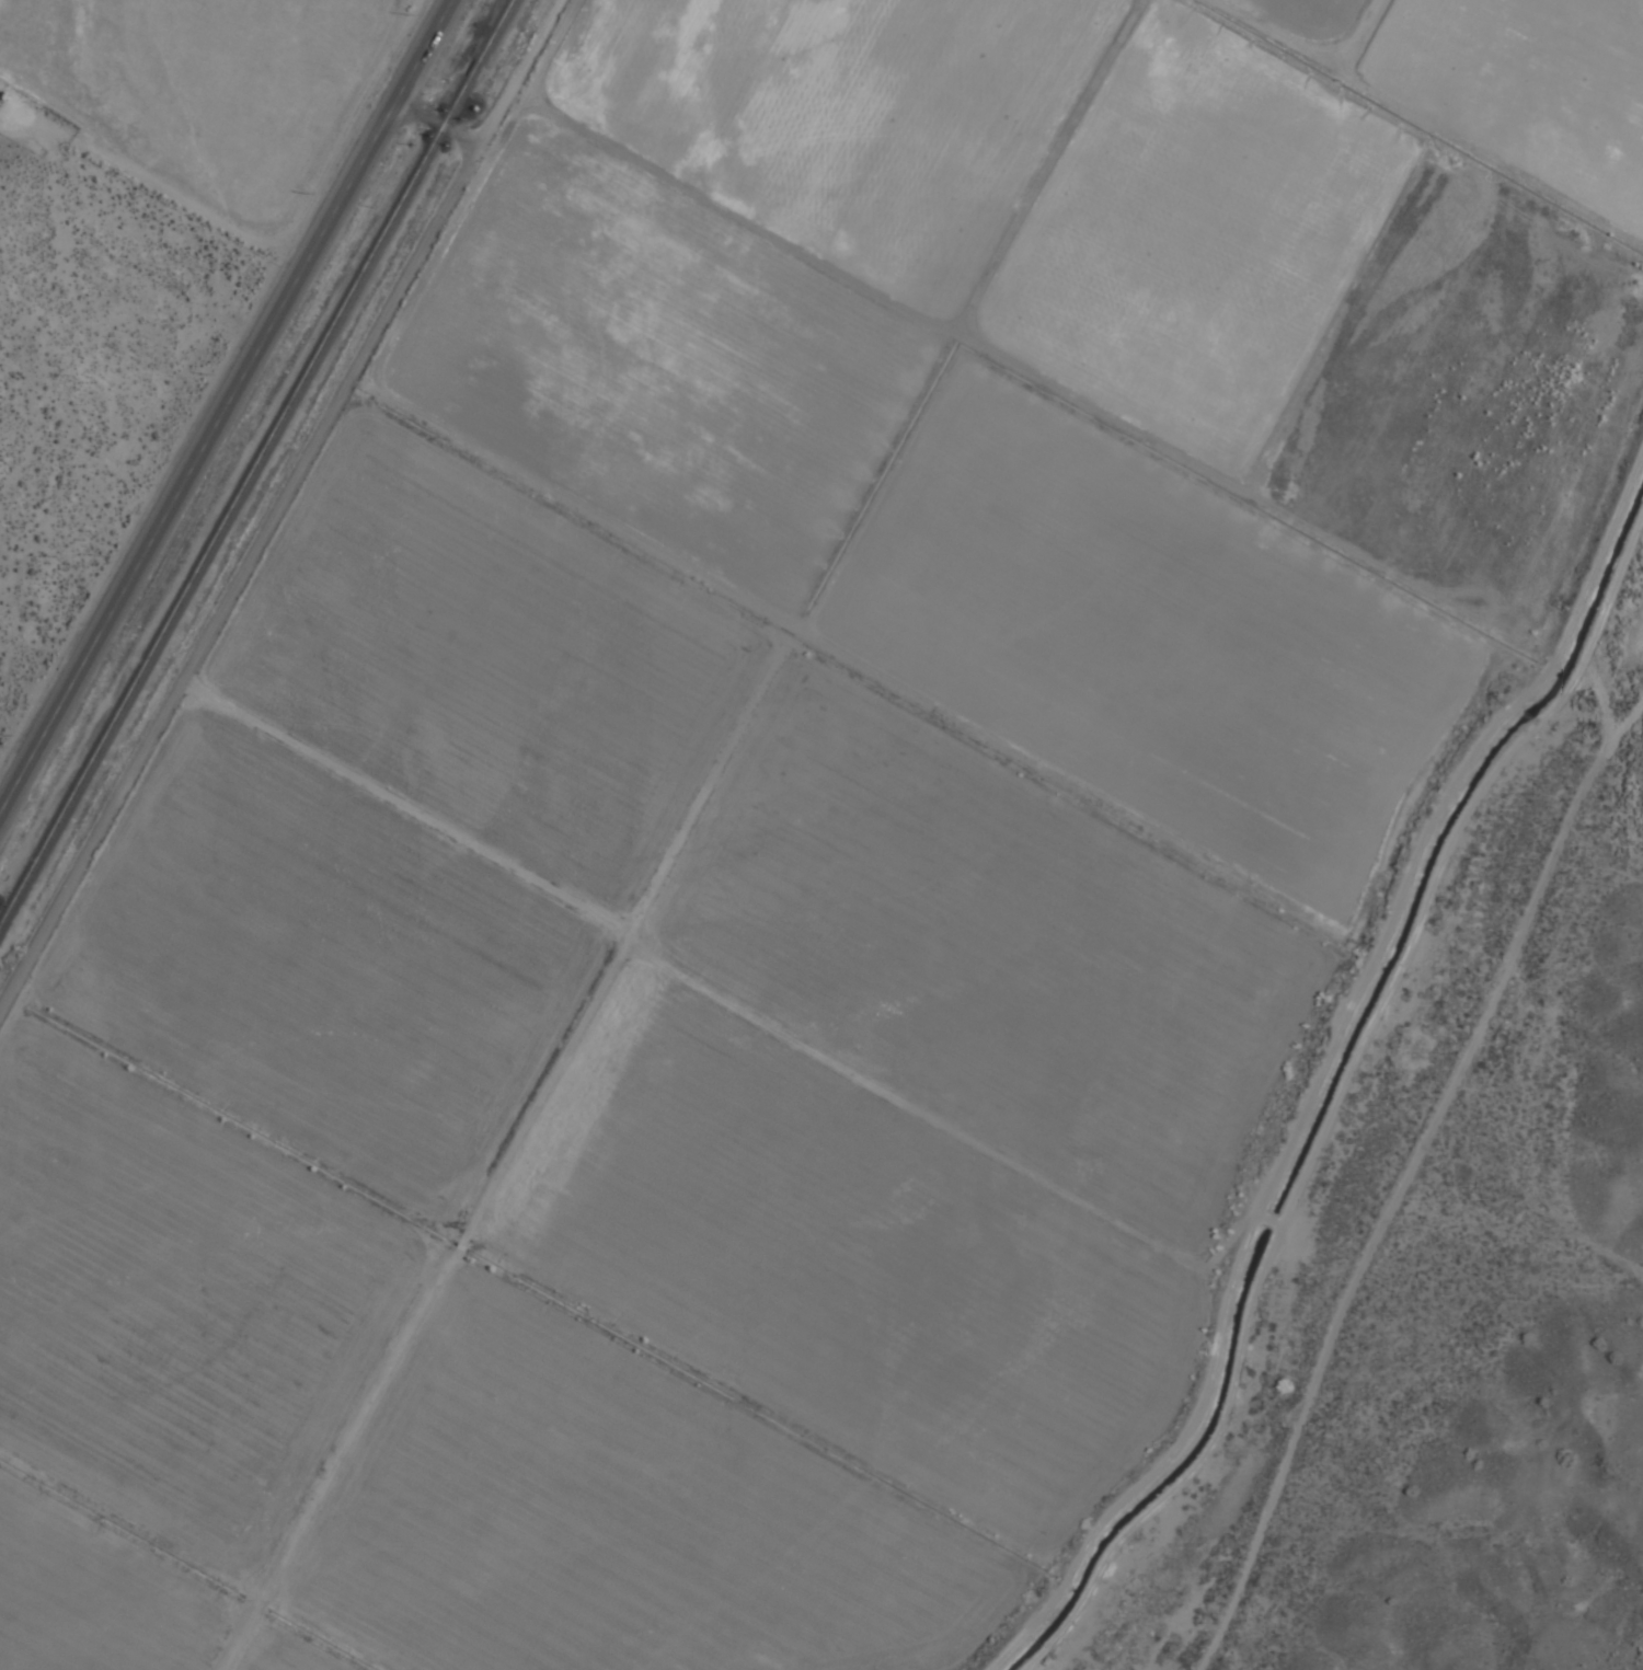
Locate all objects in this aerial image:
road: (223, 404)
railway: (255, 462)
road: (282, 511)
road: (1404, 1180)

